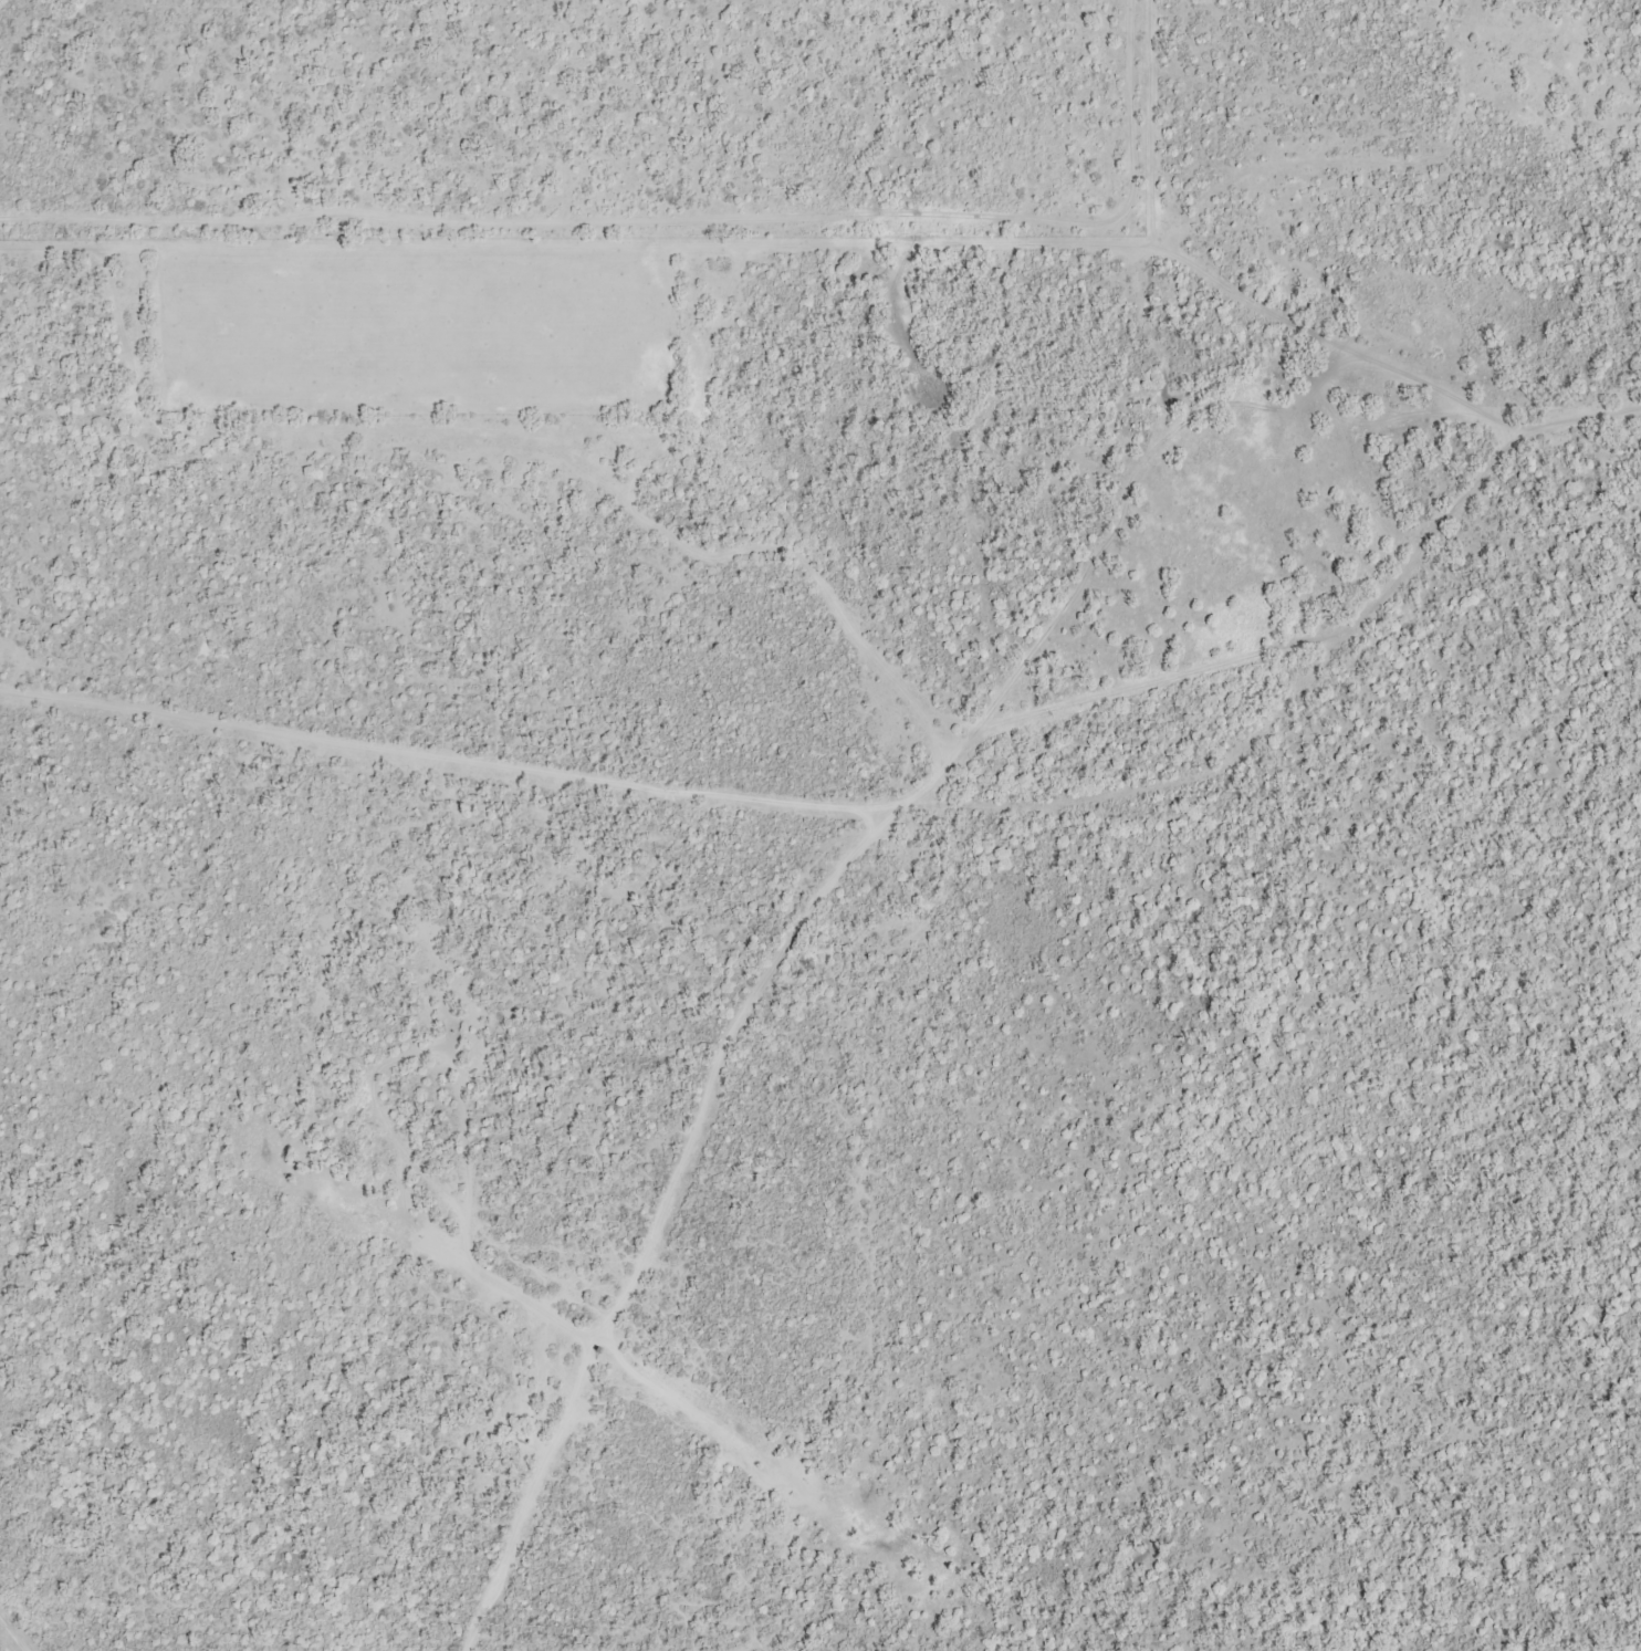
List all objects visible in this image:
road: (641, 260)
road: (875, 835)
road: (781, 1025)

